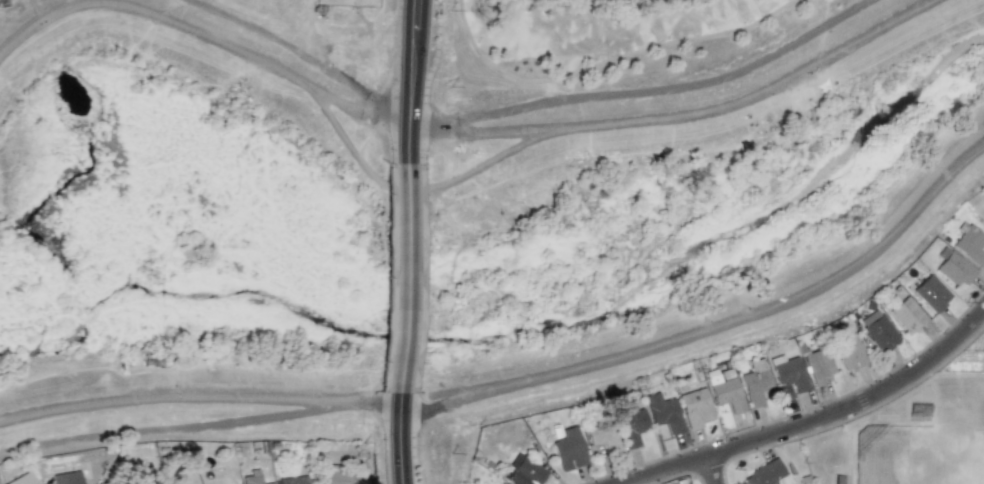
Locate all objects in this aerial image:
road: (33, 16)
road: (204, 36)
road: (410, 85)
road: (670, 88)
road: (706, 110)
road: (432, 123)
road: (432, 134)
road: (413, 189)
building: (969, 245)
building: (955, 270)
road: (403, 280)
building: (931, 293)
building: (907, 315)
road: (715, 327)
building: (880, 333)
building: (849, 352)
building: (819, 365)
building: (790, 374)
building: (755, 382)
building: (725, 392)
road: (197, 398)
building: (696, 407)
building: (664, 412)
road: (816, 421)
building: (632, 427)
road: (399, 436)
building: (603, 437)
building: (569, 450)
road: (710, 470)
building: (65, 473)
building: (526, 473)
building: (766, 474)
building: (252, 477)
building: (337, 477)
building: (23, 479)
building: (292, 480)
building: (268, 483)

